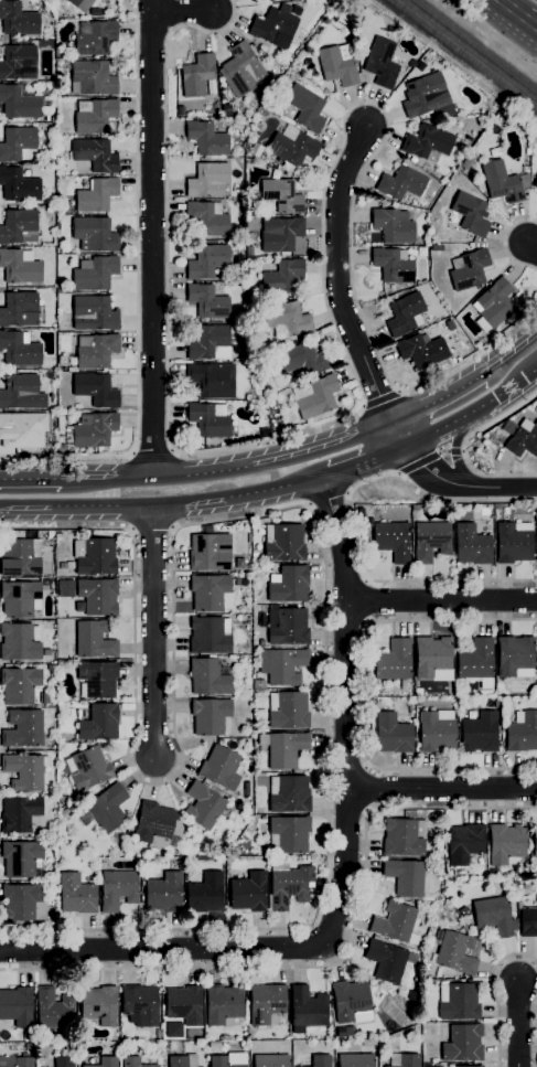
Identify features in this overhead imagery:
road: (136, 0)
building: (267, 0)
building: (293, 0)
building: (80, 4)
road: (508, 11)
building: (95, 12)
road: (183, 12)
building: (18, 19)
building: (272, 25)
road: (530, 26)
building: (95, 38)
road: (151, 45)
railway: (472, 49)
building: (1, 51)
railway: (464, 54)
building: (17, 61)
building: (382, 63)
building: (411, 64)
building: (337, 65)
building: (243, 68)
building: (196, 75)
building: (92, 78)
building: (425, 95)
building: (45, 103)
building: (18, 104)
building: (304, 109)
building: (94, 116)
building: (206, 139)
building: (428, 142)
building: (18, 143)
building: (292, 147)
building: (95, 154)
building: (412, 160)
building: (468, 160)
building: (257, 161)
building: (525, 170)
building: (207, 180)
building: (504, 182)
building: (401, 183)
building: (535, 183)
building: (19, 185)
building: (95, 194)
building: (281, 195)
building: (51, 199)
building: (67, 203)
building: (470, 214)
building: (207, 218)
building: (393, 226)
building: (19, 227)
building: (280, 234)
building: (95, 235)
road: (152, 239)
road: (505, 243)
building: (470, 246)
road: (531, 247)
building: (249, 252)
building: (421, 252)
building: (207, 263)
building: (393, 265)
building: (20, 266)
building: (468, 270)
building: (94, 274)
road: (339, 276)
building: (281, 278)
road: (138, 294)
building: (391, 297)
building: (207, 302)
building: (493, 305)
building: (19, 309)
building: (94, 313)
building: (405, 314)
building: (287, 319)
building: (206, 342)
building: (19, 349)
building: (96, 351)
building: (421, 351)
road: (509, 352)
road: (347, 358)
building: (300, 360)
road: (516, 373)
building: (212, 381)
building: (96, 390)
building: (22, 393)
building: (314, 397)
road: (438, 399)
road: (474, 410)
building: (208, 420)
building: (95, 429)
building: (22, 430)
building: (265, 431)
building: (520, 438)
road: (465, 445)
road: (324, 447)
building: (61, 448)
road: (454, 450)
road: (153, 451)
road: (364, 460)
road: (203, 473)
road: (30, 479)
road: (107, 479)
road: (452, 481)
road: (272, 489)
road: (189, 501)
road: (330, 501)
road: (101, 505)
road: (25, 506)
building: (496, 506)
building: (505, 510)
road: (271, 512)
building: (359, 514)
building: (536, 536)
building: (391, 540)
building: (283, 542)
building: (431, 542)
building: (513, 543)
building: (471, 545)
building: (210, 552)
building: (95, 556)
building: (20, 557)
road: (377, 580)
building: (288, 585)
building: (211, 593)
building: (98, 596)
building: (20, 598)
road: (441, 600)
building: (287, 626)
road: (154, 631)
building: (210, 634)
building: (94, 640)
building: (19, 642)
building: (536, 642)
building: (46, 652)
building: (432, 657)
building: (514, 658)
building: (394, 660)
building: (475, 660)
building: (282, 665)
building: (208, 677)
building: (98, 679)
building: (259, 684)
building: (19, 685)
building: (418, 692)
road: (365, 695)
building: (44, 700)
building: (373, 701)
building: (497, 704)
building: (62, 707)
building: (288, 709)
building: (210, 716)
building: (99, 723)
building: (22, 729)
building: (522, 732)
building: (436, 733)
building: (480, 733)
building: (393, 734)
building: (283, 748)
building: (88, 768)
building: (219, 768)
building: (24, 771)
road: (442, 789)
building: (289, 793)
building: (203, 805)
building: (108, 808)
building: (19, 813)
building: (154, 824)
building: (264, 826)
building: (289, 834)
building: (404, 837)
building: (535, 842)
building: (465, 844)
building: (507, 844)
building: (21, 858)
road: (343, 873)
building: (491, 873)
building: (406, 876)
building: (287, 886)
building: (118, 889)
building: (249, 892)
building: (163, 893)
building: (77, 894)
building: (205, 894)
building: (23, 903)
building: (494, 916)
building: (528, 922)
building: (396, 924)
building: (455, 953)
building: (386, 961)
road: (331, 965)
road: (492, 992)
building: (350, 1000)
building: (458, 1001)
building: (267, 1004)
building: (99, 1005)
building: (140, 1005)
building: (184, 1005)
building: (17, 1006)
building: (224, 1006)
building: (53, 1010)
building: (307, 1010)
road: (519, 1025)
building: (350, 1031)
building: (29, 1037)
building: (463, 1043)
building: (29, 1046)
building: (68, 1048)
building: (426, 1058)
building: (183, 1060)
building: (271, 1060)
building: (320, 1060)
building: (355, 1060)
building: (404, 1060)
building: (22, 1061)
building: (64, 1061)
building: (135, 1061)
building: (222, 1061)
building: (105, 1063)
building: (469, 1066)

